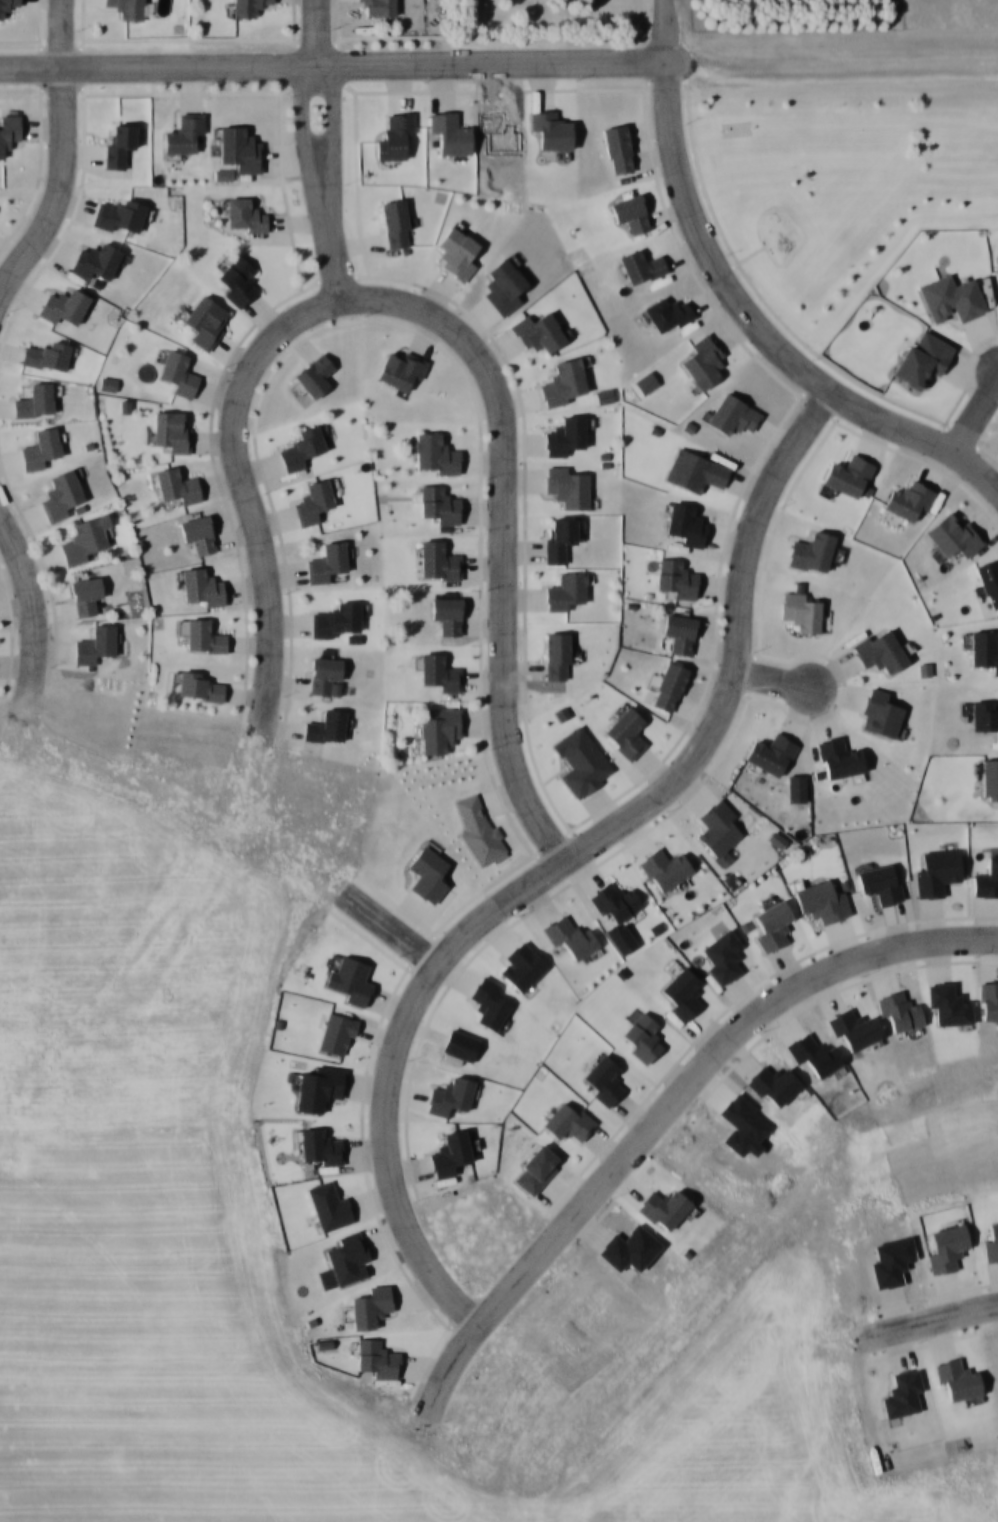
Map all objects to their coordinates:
building: (7, 7)
building: (248, 7)
building: (379, 7)
building: (126, 8)
road: (499, 63)
building: (551, 128)
building: (8, 129)
building: (183, 132)
building: (450, 132)
building: (395, 135)
building: (119, 144)
building: (617, 147)
building: (240, 148)
road: (319, 148)
road: (61, 155)
building: (630, 212)
building: (244, 215)
building: (120, 216)
building: (395, 222)
building: (456, 252)
building: (95, 260)
building: (641, 266)
building: (996, 266)
building: (239, 280)
building: (503, 285)
building: (952, 297)
building: (64, 304)
road: (741, 306)
building: (668, 314)
building: (206, 320)
building: (538, 332)
building: (46, 355)
building: (703, 363)
building: (400, 369)
building: (179, 372)
building: (312, 376)
building: (563, 382)
building: (646, 382)
building: (35, 401)
building: (732, 414)
road: (976, 418)
building: (172, 431)
building: (564, 435)
building: (301, 447)
building: (40, 448)
building: (435, 453)
building: (848, 475)
building: (177, 484)
building: (566, 487)
road: (246, 488)
building: (61, 494)
building: (909, 499)
building: (314, 501)
building: (439, 504)
building: (687, 523)
road: (502, 532)
building: (198, 533)
building: (953, 535)
building: (558, 537)
building: (84, 538)
building: (811, 551)
building: (436, 559)
building: (326, 561)
building: (676, 577)
building: (988, 580)
building: (202, 585)
building: (565, 589)
building: (86, 594)
building: (798, 611)
road: (30, 613)
building: (447, 614)
building: (336, 619)
building: (680, 633)
building: (203, 636)
building: (94, 643)
building: (984, 648)
building: (879, 650)
road: (733, 651)
building: (556, 654)
building: (440, 671)
building: (325, 675)
road: (771, 680)
building: (197, 685)
building: (668, 685)
building: (879, 713)
building: (983, 715)
building: (325, 726)
building: (439, 728)
building: (626, 733)
building: (770, 753)
building: (839, 758)
building: (989, 779)
building: (717, 826)
building: (479, 829)
building: (665, 868)
building: (614, 900)
building: (821, 901)
building: (569, 935)
road: (388, 944)
building: (723, 956)
building: (988, 999)
building: (899, 1010)
building: (813, 1053)
road: (389, 1069)
road: (664, 1113)
road: (936, 1315)
building: (957, 1378)

